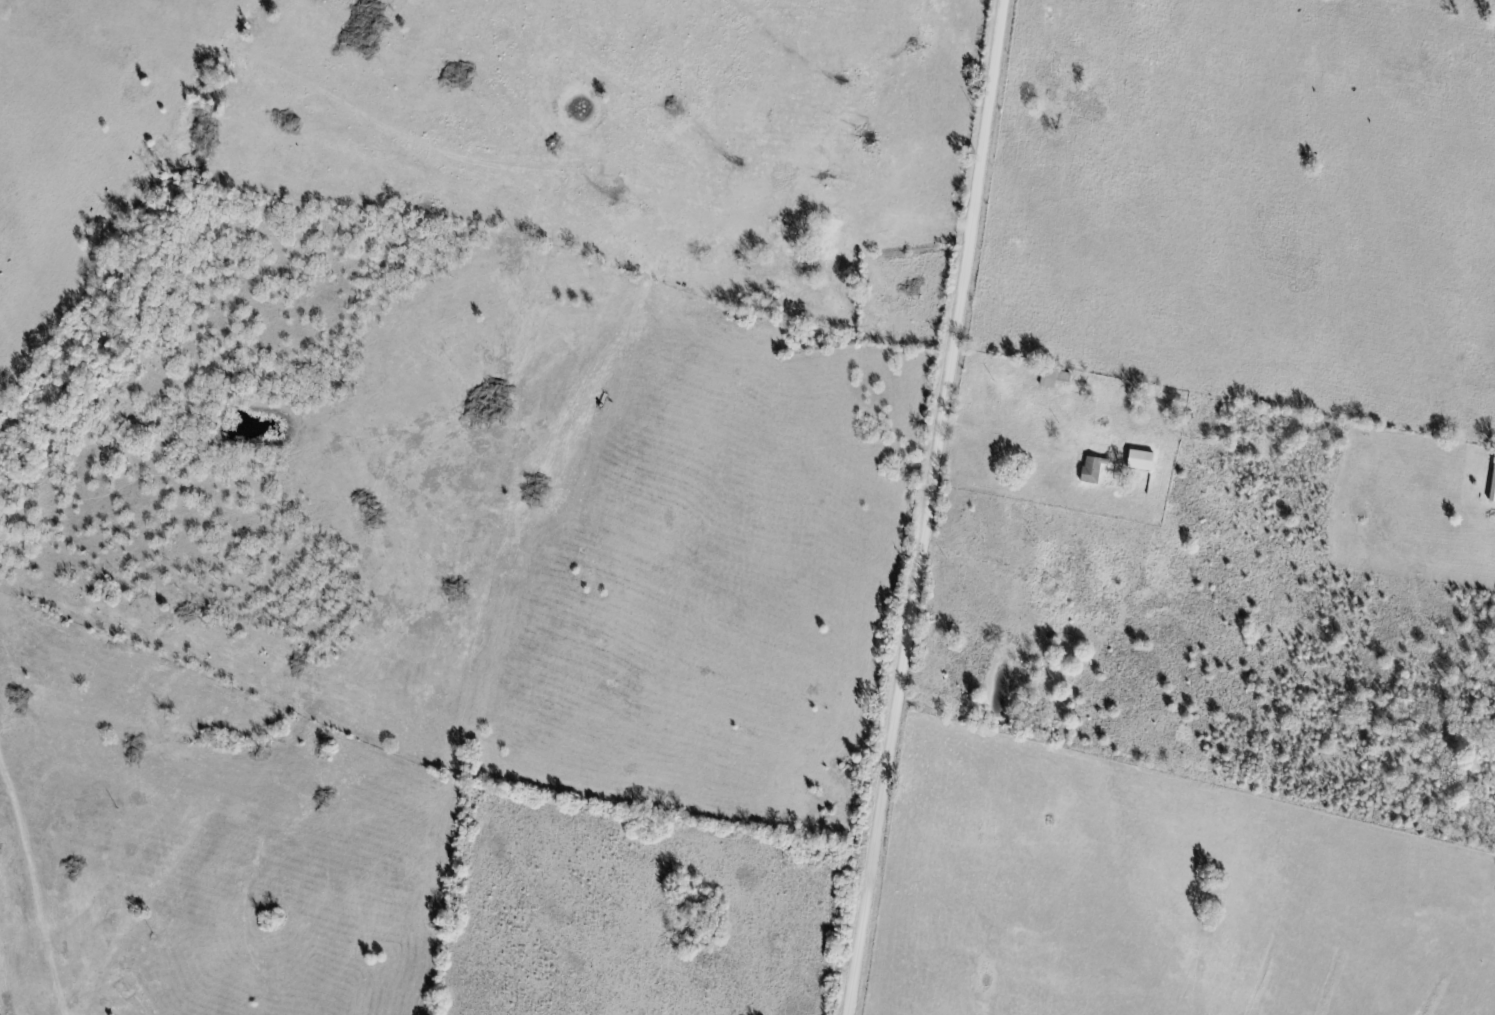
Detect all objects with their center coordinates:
building: (1056, 379)
building: (1095, 472)
building: (1494, 497)
road: (931, 507)
road: (43, 920)

